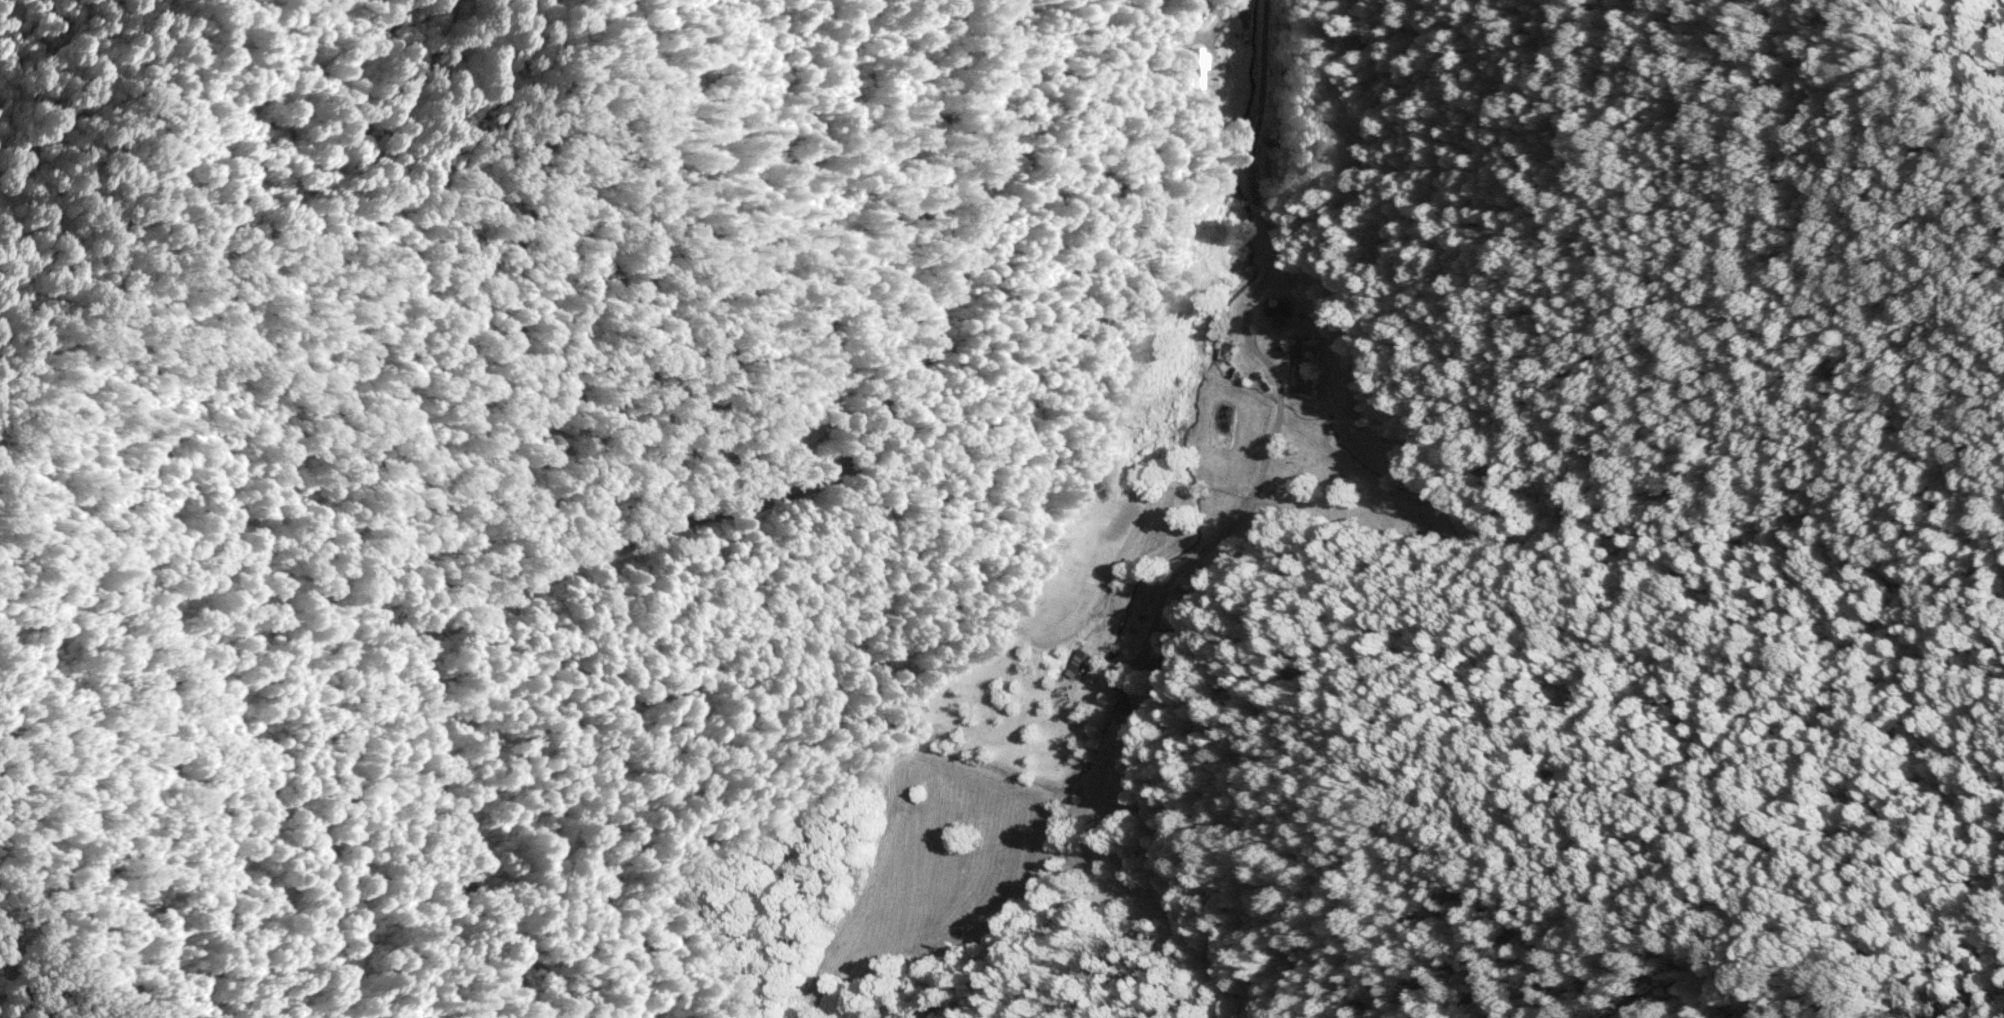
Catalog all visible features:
road: (1242, 284)
road: (651, 521)
building: (1077, 662)
building: (1164, 664)

